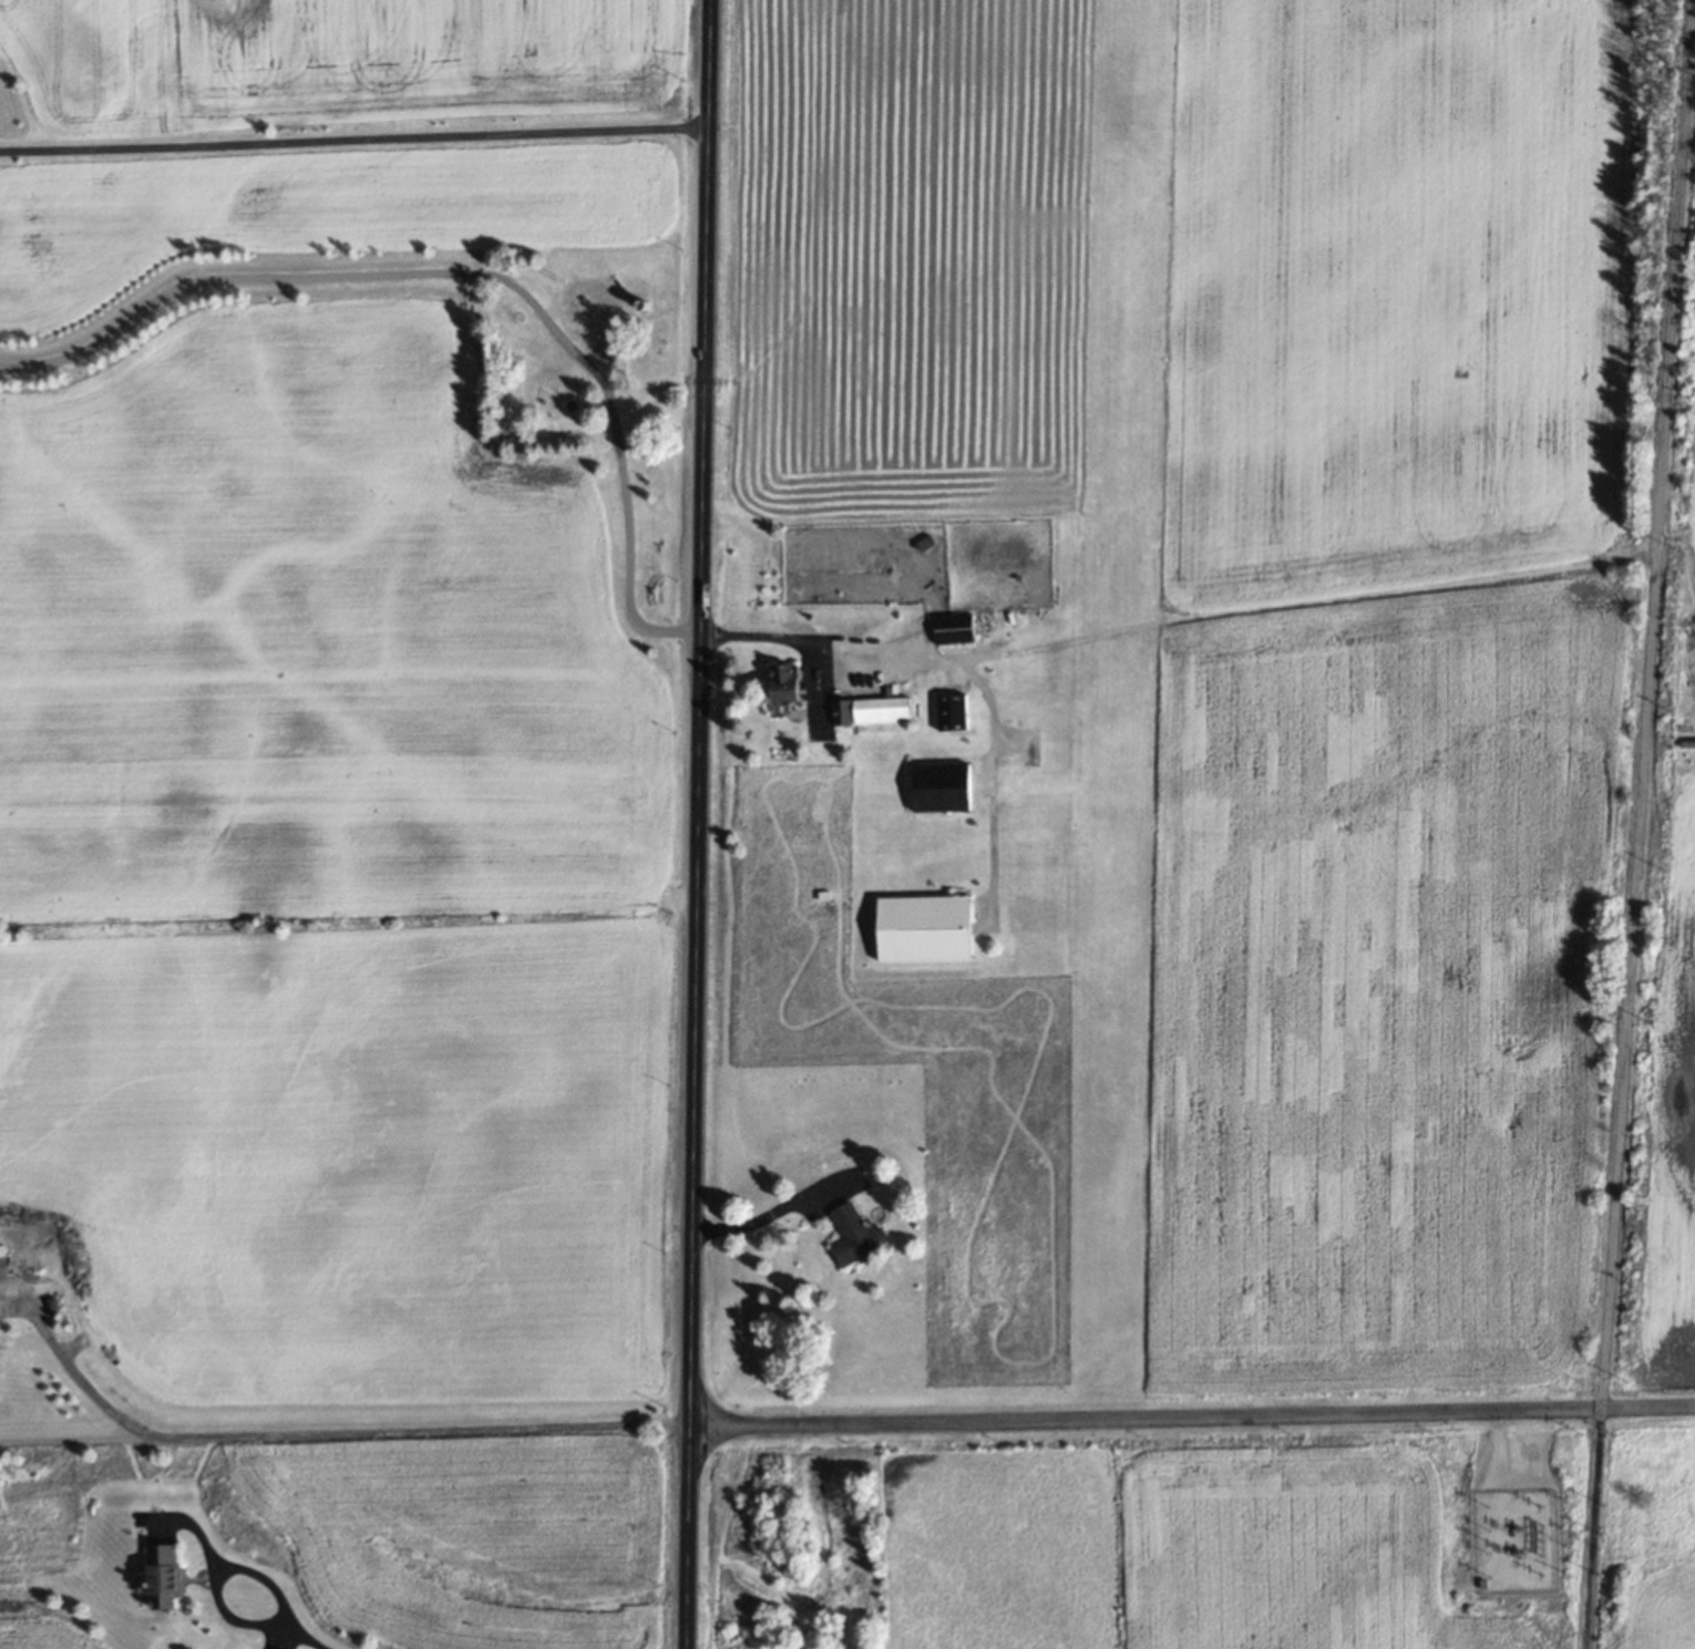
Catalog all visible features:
road: (352, 134)
road: (466, 271)
building: (953, 628)
road: (956, 661)
building: (781, 681)
airport runway: (1114, 683)
building: (879, 709)
building: (949, 712)
building: (942, 784)
road: (694, 824)
airport: (975, 824)
road: (1635, 824)
building: (922, 928)
road: (764, 1223)
building: (853, 1236)
road: (1189, 1419)
road: (312, 1434)
building: (160, 1575)
road: (255, 1622)

